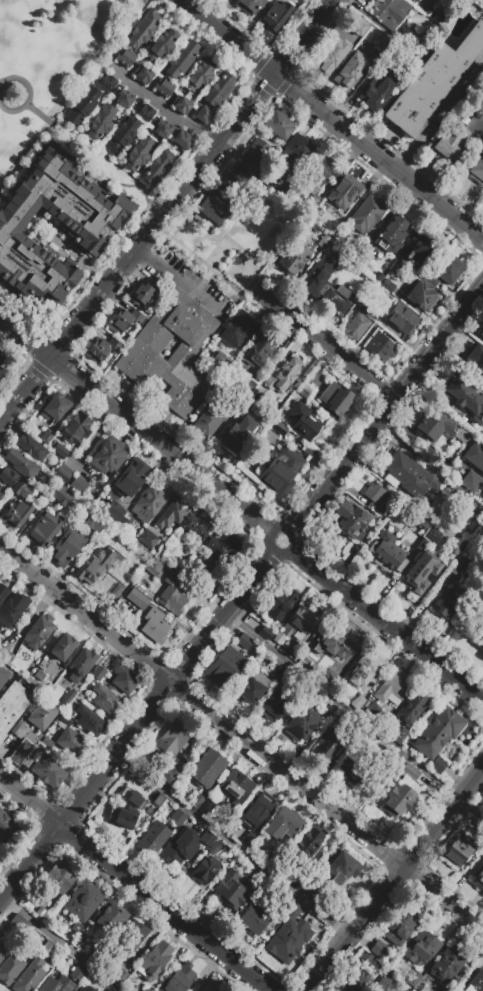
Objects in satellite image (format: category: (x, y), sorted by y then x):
building: (426, 1)
building: (480, 1)
building: (248, 6)
building: (390, 12)
building: (275, 14)
building: (437, 14)
building: (357, 26)
building: (143, 28)
road: (227, 36)
road: (302, 37)
building: (378, 42)
building: (161, 45)
building: (422, 49)
building: (330, 54)
building: (125, 57)
building: (181, 59)
park: (50, 63)
building: (349, 68)
traffic signals: (273, 74)
building: (143, 75)
building: (199, 76)
building: (107, 82)
building: (432, 82)
building: (164, 87)
building: (219, 91)
road: (257, 93)
building: (376, 93)
road: (29, 94)
building: (124, 99)
road: (161, 104)
building: (182, 105)
building: (81, 107)
building: (145, 112)
building: (204, 115)
building: (101, 121)
building: (278, 125)
building: (162, 129)
building: (120, 137)
building: (182, 141)
building: (451, 142)
road: (72, 151)
building: (253, 151)
building: (291, 153)
building: (138, 154)
road: (378, 157)
road: (92, 161)
road: (115, 165)
building: (59, 168)
building: (158, 168)
building: (477, 170)
building: (319, 177)
building: (240, 178)
building: (344, 192)
building: (38, 194)
building: (98, 202)
building: (215, 206)
building: (368, 211)
building: (120, 212)
building: (84, 218)
building: (77, 232)
road: (145, 234)
park: (276, 235)
building: (392, 235)
building: (13, 238)
road: (215, 240)
building: (323, 241)
park: (240, 242)
building: (97, 247)
building: (423, 248)
road: (142, 253)
building: (293, 260)
road: (231, 264)
building: (58, 266)
building: (322, 266)
building: (396, 266)
building: (450, 270)
road: (211, 271)
park: (243, 271)
building: (4, 274)
building: (39, 274)
road: (208, 275)
building: (377, 277)
building: (72, 278)
building: (13, 280)
road: (199, 285)
road: (187, 286)
road: (253, 286)
building: (387, 286)
building: (28, 291)
building: (328, 292)
building: (141, 294)
building: (57, 295)
building: (420, 295)
building: (368, 310)
building: (402, 319)
building: (124, 320)
building: (356, 326)
building: (235, 329)
building: (480, 331)
road: (324, 344)
building: (381, 346)
building: (102, 348)
building: (259, 350)
building: (172, 353)
building: (476, 357)
building: (220, 362)
building: (1, 366)
building: (284, 374)
road: (33, 380)
building: (248, 387)
building: (306, 392)
building: (463, 398)
building: (337, 399)
building: (55, 407)
road: (7, 411)
road: (387, 411)
building: (207, 421)
building: (303, 421)
road: (134, 424)
building: (433, 425)
building: (76, 428)
building: (462, 434)
building: (240, 435)
building: (46, 437)
building: (31, 447)
building: (457, 450)
building: (60, 451)
building: (109, 455)
building: (475, 456)
building: (21, 464)
building: (280, 470)
building: (63, 472)
building: (408, 475)
building: (7, 477)
building: (131, 477)
building: (471, 481)
building: (78, 485)
building: (21, 489)
building: (0, 495)
building: (61, 496)
building: (374, 496)
building: (149, 503)
building: (113, 510)
building: (16, 514)
building: (177, 516)
building: (350, 519)
building: (423, 522)
building: (93, 523)
building: (44, 530)
building: (430, 534)
building: (147, 539)
building: (219, 542)
building: (455, 547)
building: (66, 548)
road: (275, 553)
building: (386, 556)
building: (200, 560)
building: (94, 565)
building: (457, 566)
building: (154, 567)
building: (203, 570)
building: (419, 572)
building: (112, 591)
building: (3, 592)
building: (172, 596)
building: (137, 599)
building: (446, 604)
building: (281, 605)
building: (13, 610)
building: (155, 625)
building: (296, 625)
road: (387, 625)
building: (38, 631)
building: (266, 633)
building: (245, 641)
building: (481, 643)
building: (63, 646)
building: (333, 646)
building: (3, 652)
building: (482, 655)
building: (8, 659)
building: (43, 664)
building: (81, 664)
building: (224, 667)
building: (364, 668)
building: (99, 673)
building: (3, 674)
building: (39, 675)
building: (124, 678)
building: (393, 686)
building: (253, 688)
building: (67, 698)
building: (105, 700)
building: (357, 701)
building: (275, 704)
building: (13, 706)
road: (341, 706)
building: (411, 708)
building: (330, 710)
building: (372, 710)
building: (43, 715)
building: (65, 719)
building: (90, 720)
building: (301, 724)
building: (17, 727)
road: (138, 728)
building: (437, 732)
building: (23, 733)
building: (31, 737)
road: (241, 738)
building: (402, 738)
building: (173, 739)
building: (47, 742)
building: (71, 742)
building: (328, 745)
building: (20, 751)
building: (438, 764)
building: (206, 768)
building: (355, 769)
building: (49, 770)
building: (169, 772)
building: (235, 787)
building: (197, 801)
building: (398, 801)
building: (207, 807)
road: (470, 807)
building: (127, 811)
building: (257, 811)
building: (178, 818)
building: (284, 824)
building: (8, 828)
building: (207, 837)
building: (154, 839)
building: (309, 842)
building: (180, 846)
road: (231, 848)
building: (458, 850)
building: (342, 861)
building: (205, 870)
building: (59, 878)
road: (394, 878)
building: (479, 878)
road: (134, 884)
building: (231, 890)
building: (83, 901)
building: (293, 910)
building: (254, 917)
building: (108, 918)
building: (289, 927)
building: (313, 927)
building: (398, 929)
building: (73, 932)
building: (130, 937)
building: (31, 939)
road: (62, 944)
building: (421, 948)
building: (47, 949)
building: (380, 950)
building: (3, 951)
building: (154, 961)
building: (367, 963)
building: (448, 963)
building: (10, 968)
building: (27, 974)
building: (78, 974)
building: (121, 975)
building: (34, 980)
building: (349, 981)
building: (475, 981)
building: (179, 982)
building: (384, 982)
building: (56, 984)
building: (210, 987)
building: (84, 988)
building: (105, 989)

